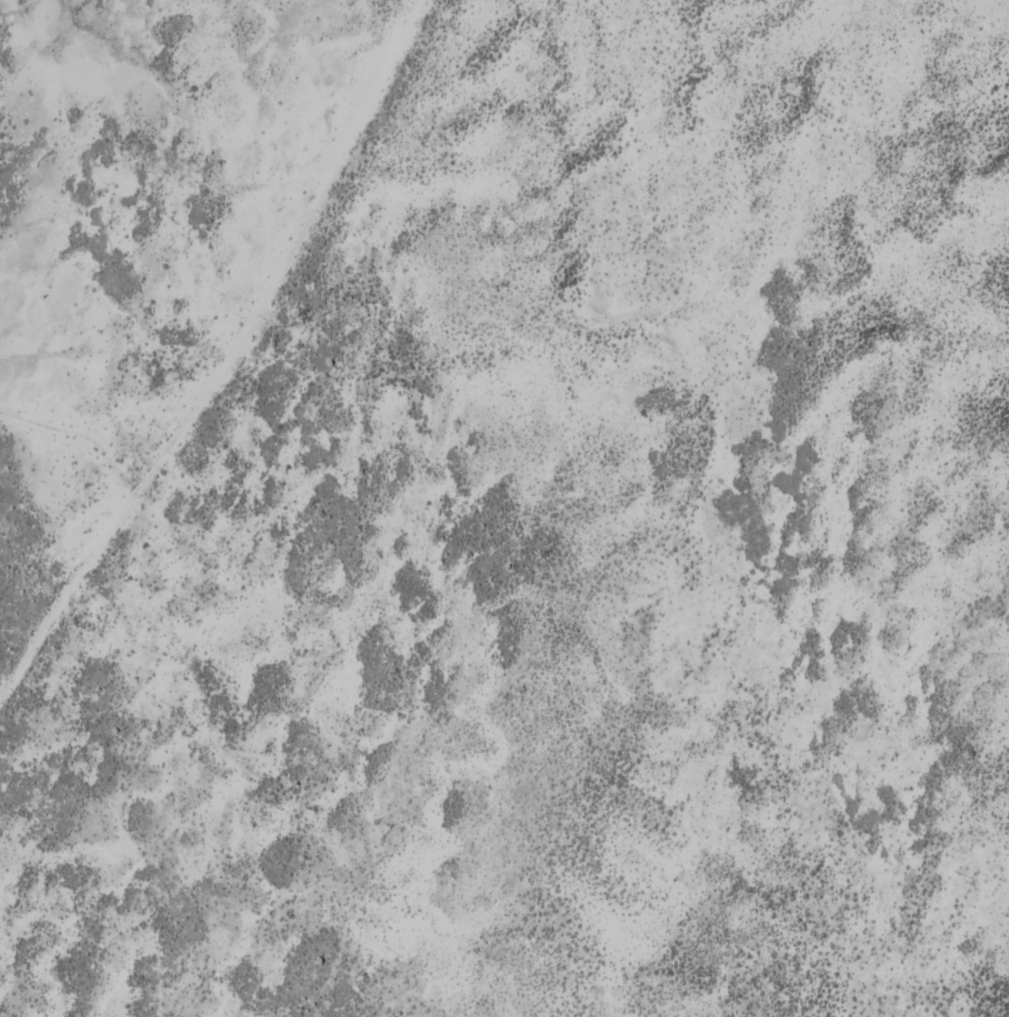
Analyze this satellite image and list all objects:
road: (254, 343)

